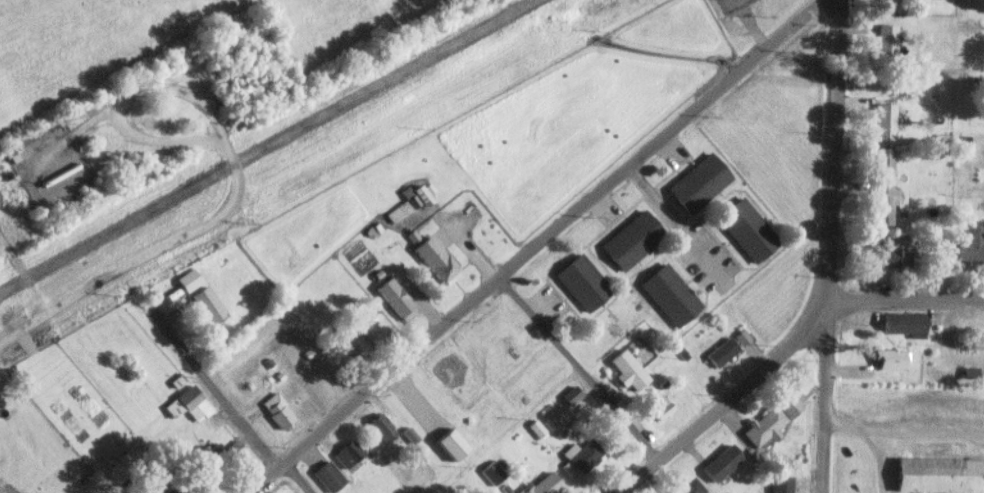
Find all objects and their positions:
building: (887, 2)
building: (887, 40)
road: (117, 104)
building: (885, 119)
building: (699, 181)
building: (885, 187)
building: (424, 194)
building: (400, 210)
building: (748, 228)
building: (633, 238)
building: (972, 242)
road: (533, 245)
road: (831, 249)
road: (143, 254)
building: (891, 255)
building: (437, 259)
building: (189, 278)
building: (583, 281)
building: (671, 293)
building: (396, 295)
road: (907, 297)
building: (209, 304)
building: (365, 322)
building: (905, 322)
building: (349, 344)
building: (722, 351)
building: (890, 358)
building: (450, 367)
road: (578, 367)
building: (628, 369)
road: (214, 387)
building: (189, 403)
building: (659, 405)
road: (717, 407)
building: (278, 410)
building: (765, 425)
building: (383, 427)
building: (452, 443)
building: (234, 446)
building: (349, 452)
building: (586, 455)
building: (213, 461)
building: (723, 461)
building: (492, 471)
building: (940, 474)
building: (329, 475)
road: (298, 477)
building: (781, 483)
building: (543, 485)
building: (689, 486)
building: (157, 490)

